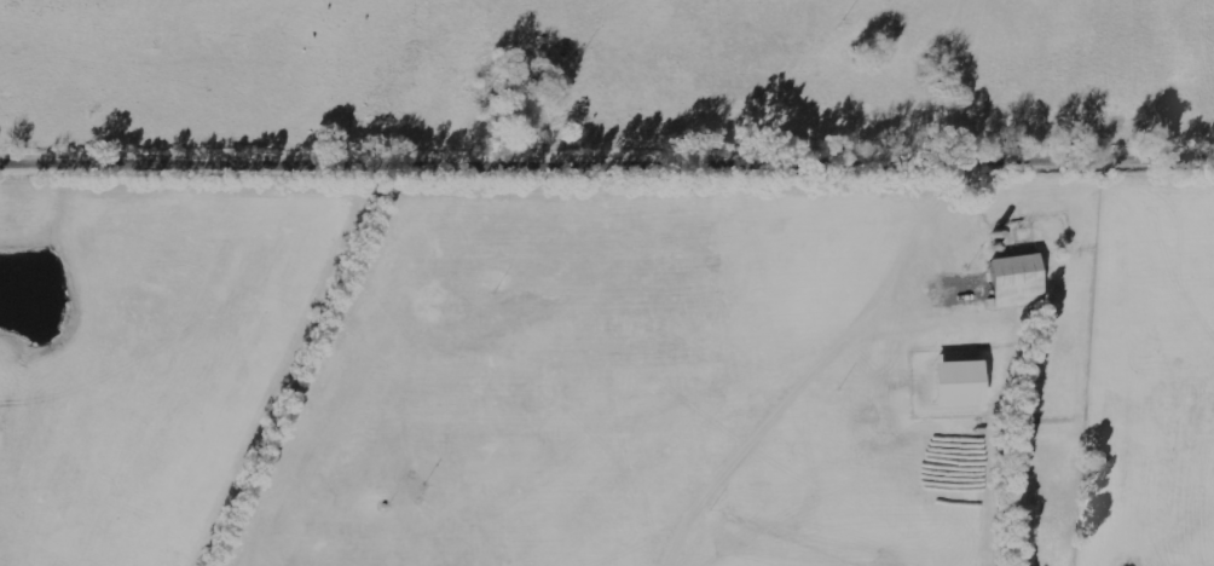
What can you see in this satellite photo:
road: (607, 167)
building: (1017, 281)
building: (959, 383)

